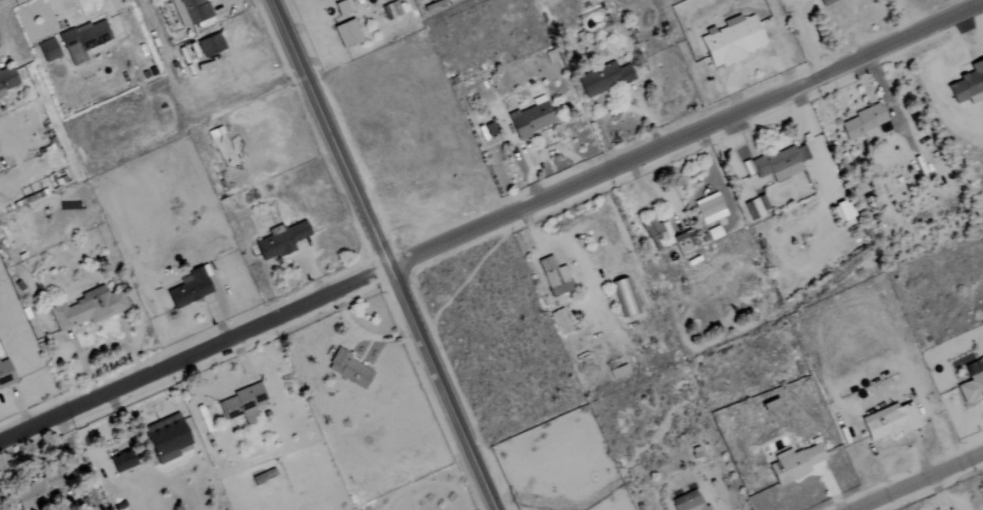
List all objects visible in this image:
building: (826, 2)
building: (342, 8)
building: (390, 10)
building: (189, 11)
road: (903, 19)
building: (346, 34)
road: (816, 36)
building: (731, 40)
building: (82, 41)
building: (209, 46)
building: (47, 50)
building: (6, 80)
building: (603, 80)
building: (530, 121)
building: (863, 124)
building: (780, 163)
road: (653, 194)
building: (754, 208)
building: (708, 209)
building: (841, 212)
road: (491, 223)
building: (713, 233)
building: (280, 241)
building: (684, 243)
road: (382, 254)
building: (554, 278)
building: (189, 290)
building: (624, 298)
building: (86, 309)
building: (560, 323)
building: (349, 370)
building: (618, 372)
building: (5, 374)
building: (972, 382)
building: (241, 404)
building: (166, 439)
building: (120, 461)
building: (794, 464)
building: (263, 477)
road: (919, 481)
building: (36, 492)
building: (687, 502)

